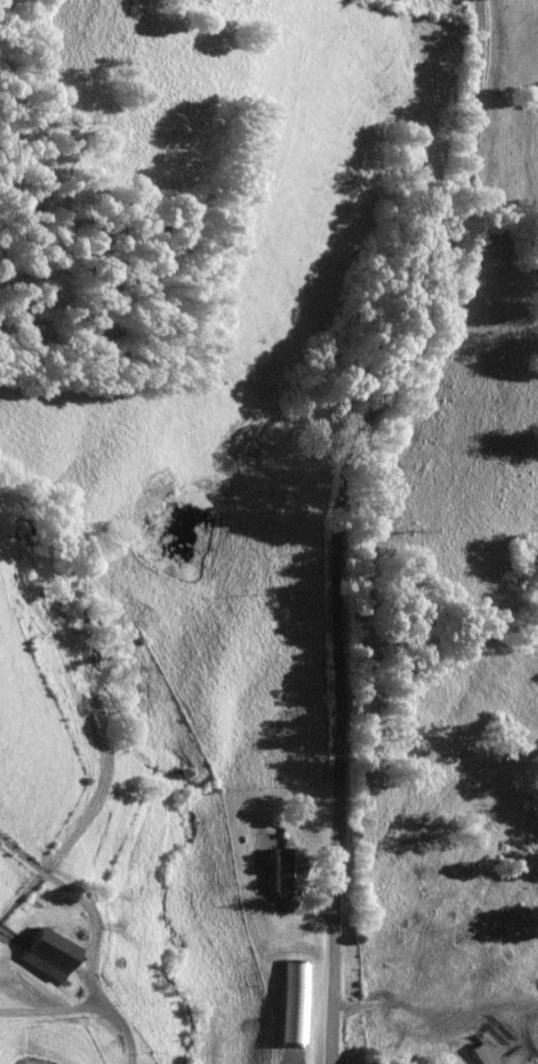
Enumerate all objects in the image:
road: (340, 518)
building: (283, 869)
road: (271, 899)
road: (80, 905)
building: (41, 953)
road: (86, 1002)
building: (280, 1033)
building: (482, 1053)

